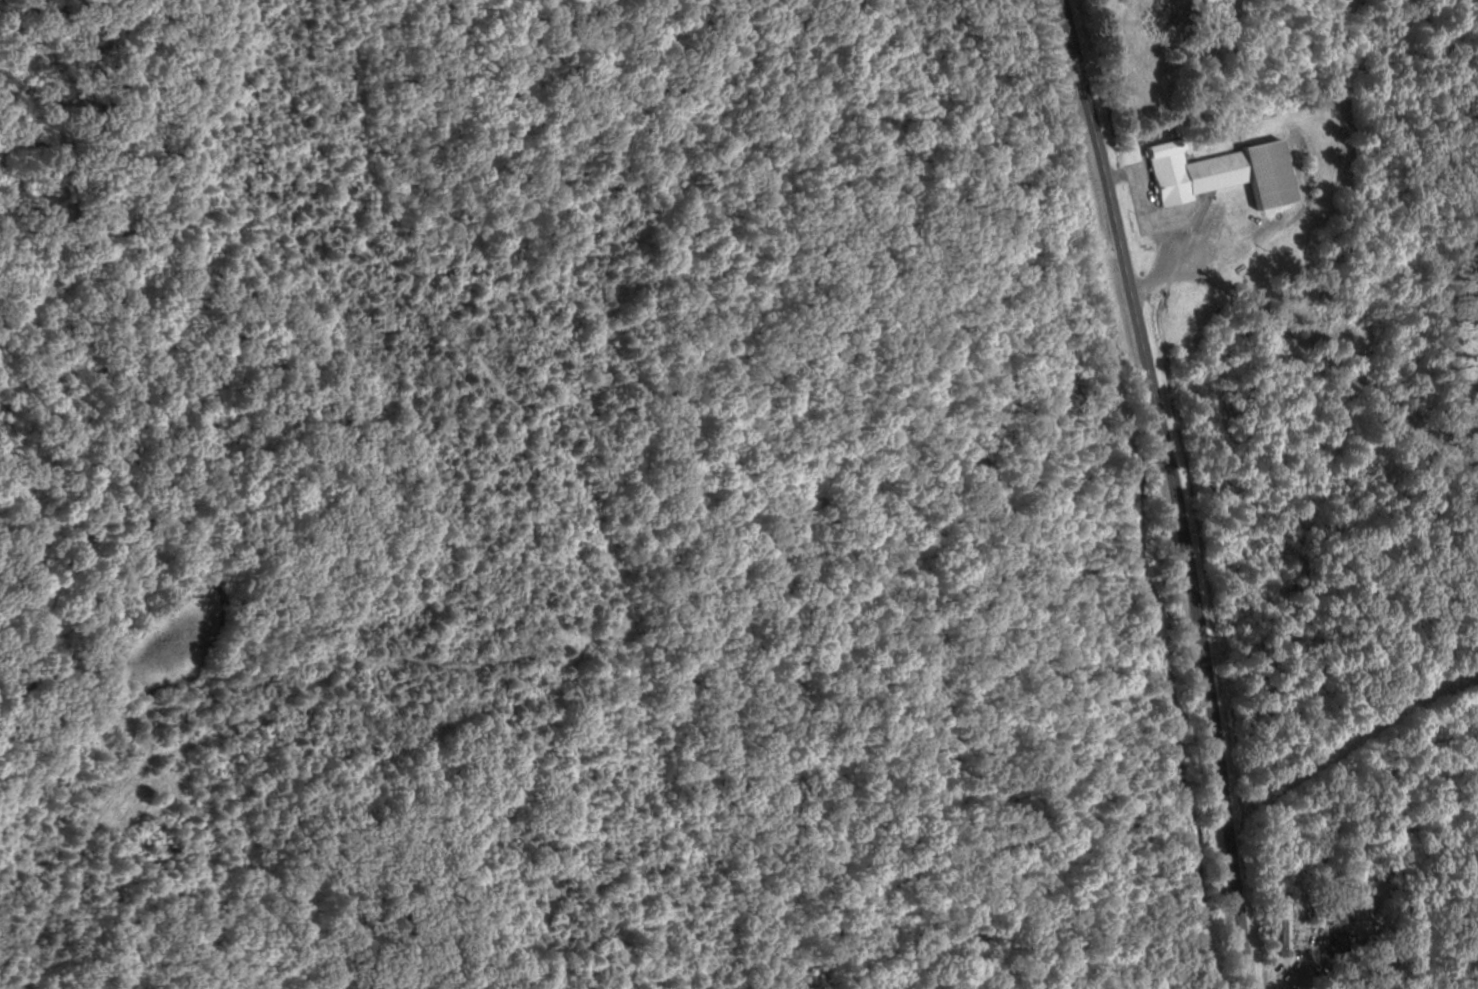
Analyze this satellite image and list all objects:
building: (1226, 172)
road: (1313, 350)
road: (1170, 491)

